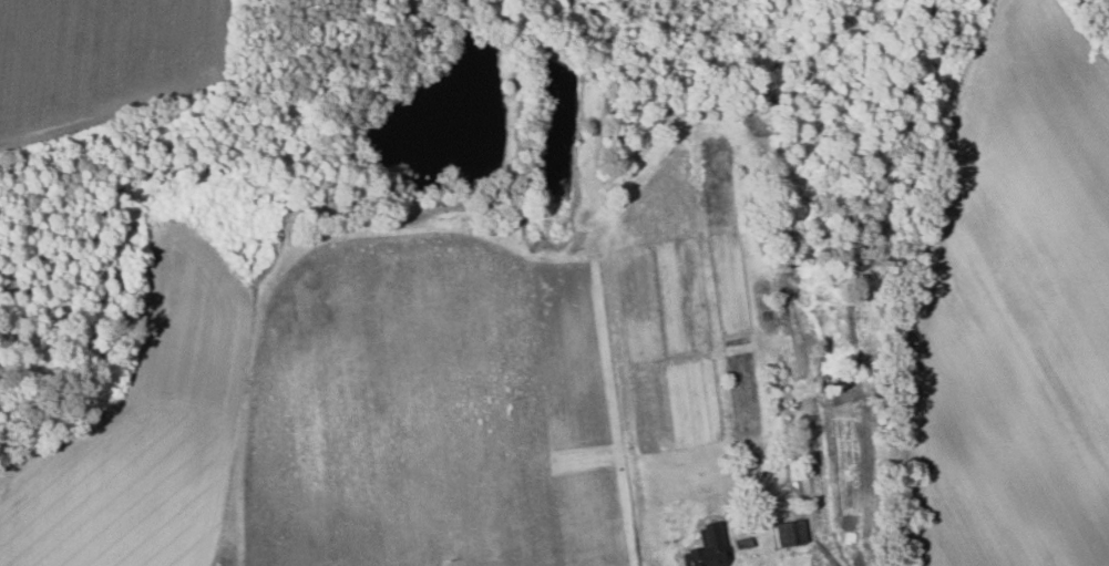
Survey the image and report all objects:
building: (787, 532)

